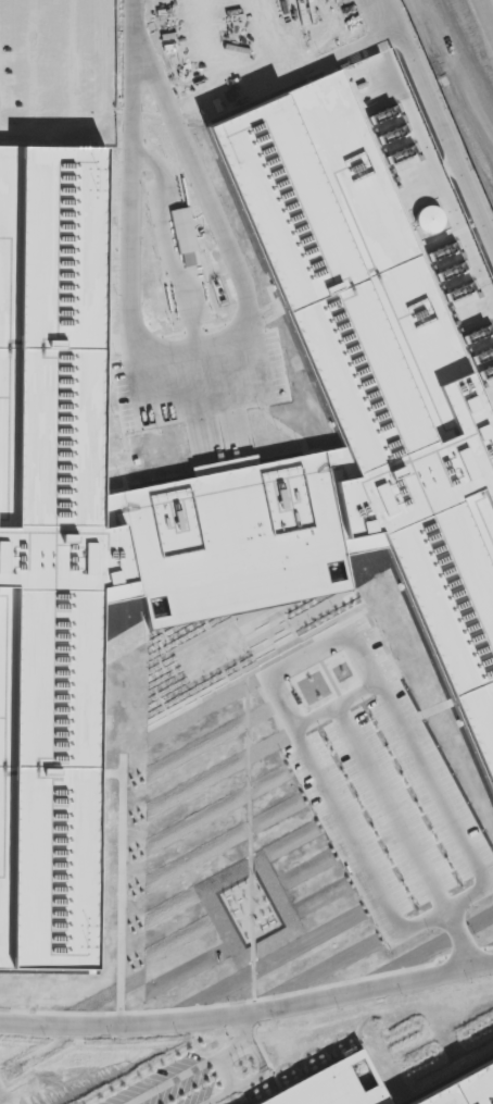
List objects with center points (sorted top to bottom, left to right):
road: (485, 15)
road: (136, 23)
road: (458, 66)
road: (187, 355)
building: (220, 474)
road: (248, 1013)
road: (237, 1047)
building: (316, 1081)
road: (170, 1083)
building: (463, 1088)

